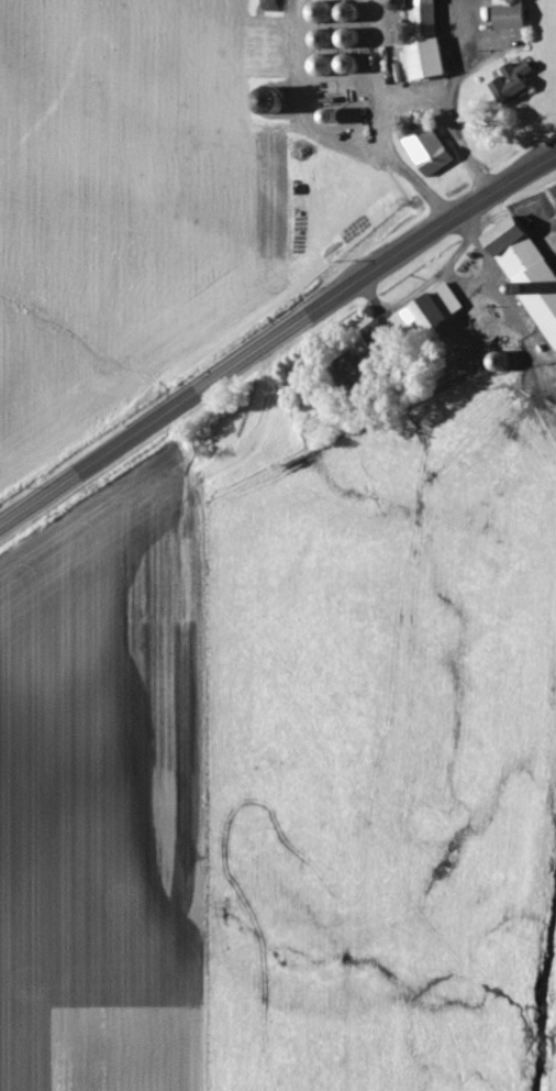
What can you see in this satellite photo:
building: (514, 16)
building: (430, 19)
building: (433, 62)
building: (519, 85)
road: (392, 98)
building: (435, 153)
building: (530, 268)
building: (440, 311)
road: (274, 323)

